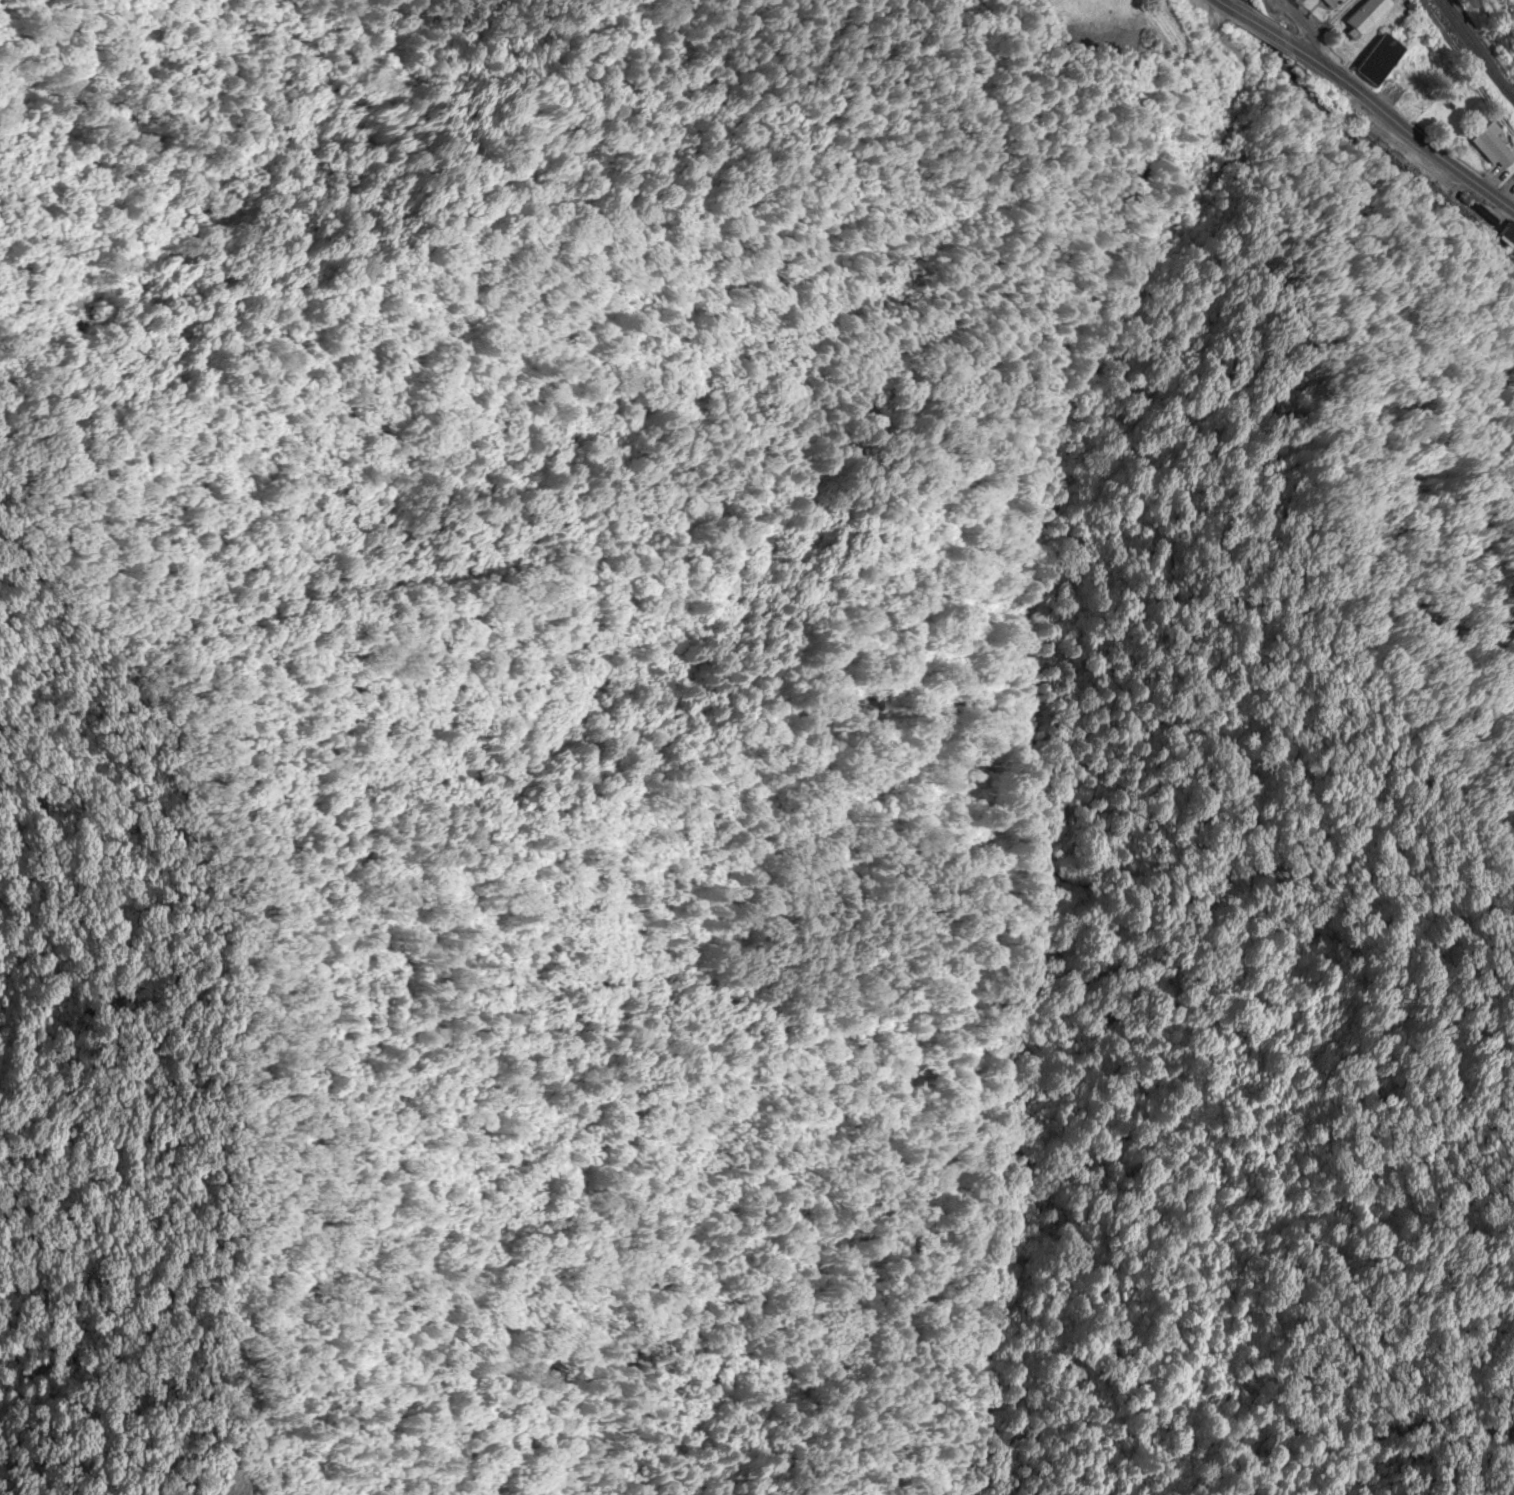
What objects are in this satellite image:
building: (1327, 2)
road: (1223, 4)
building: (1363, 14)
road: (1304, 26)
road: (1260, 27)
road: (1216, 32)
railway: (1476, 50)
building: (1373, 59)
building: (1386, 90)
road: (1402, 127)
building: (1488, 143)
building: (1503, 233)
quarry: (239, 1473)

